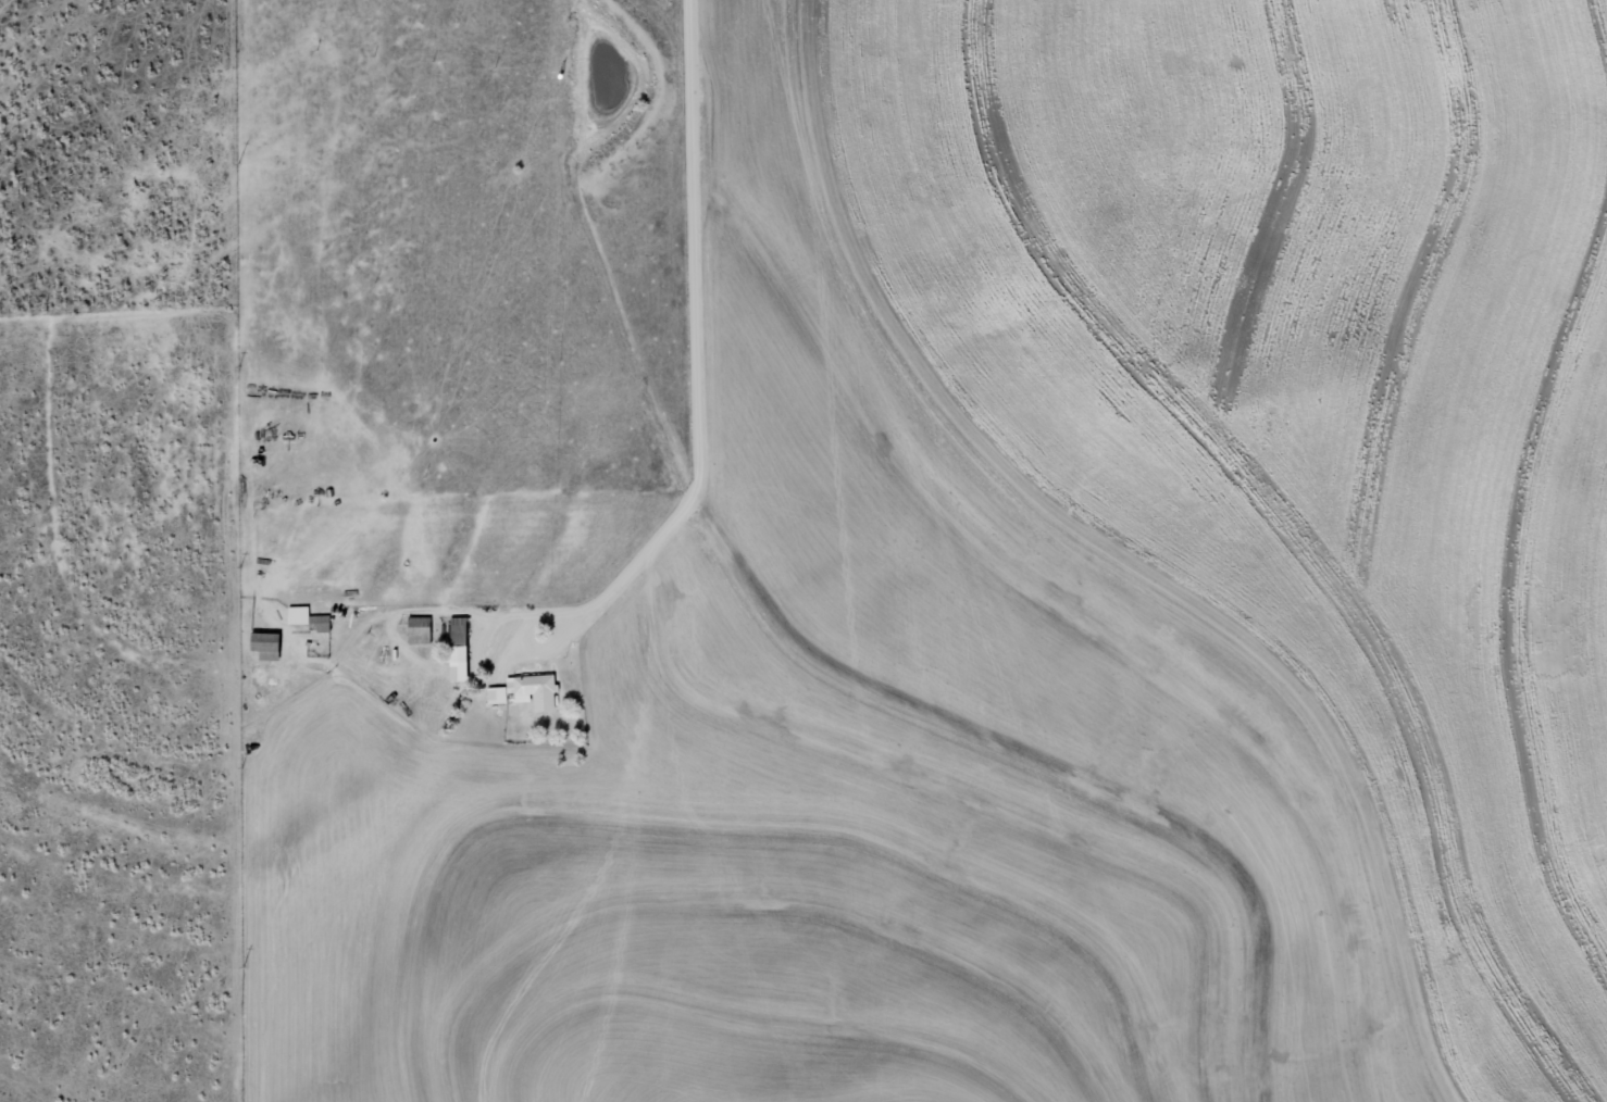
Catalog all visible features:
road: (712, 343)
building: (309, 618)
building: (420, 630)
building: (266, 646)
building: (458, 649)
building: (527, 691)

